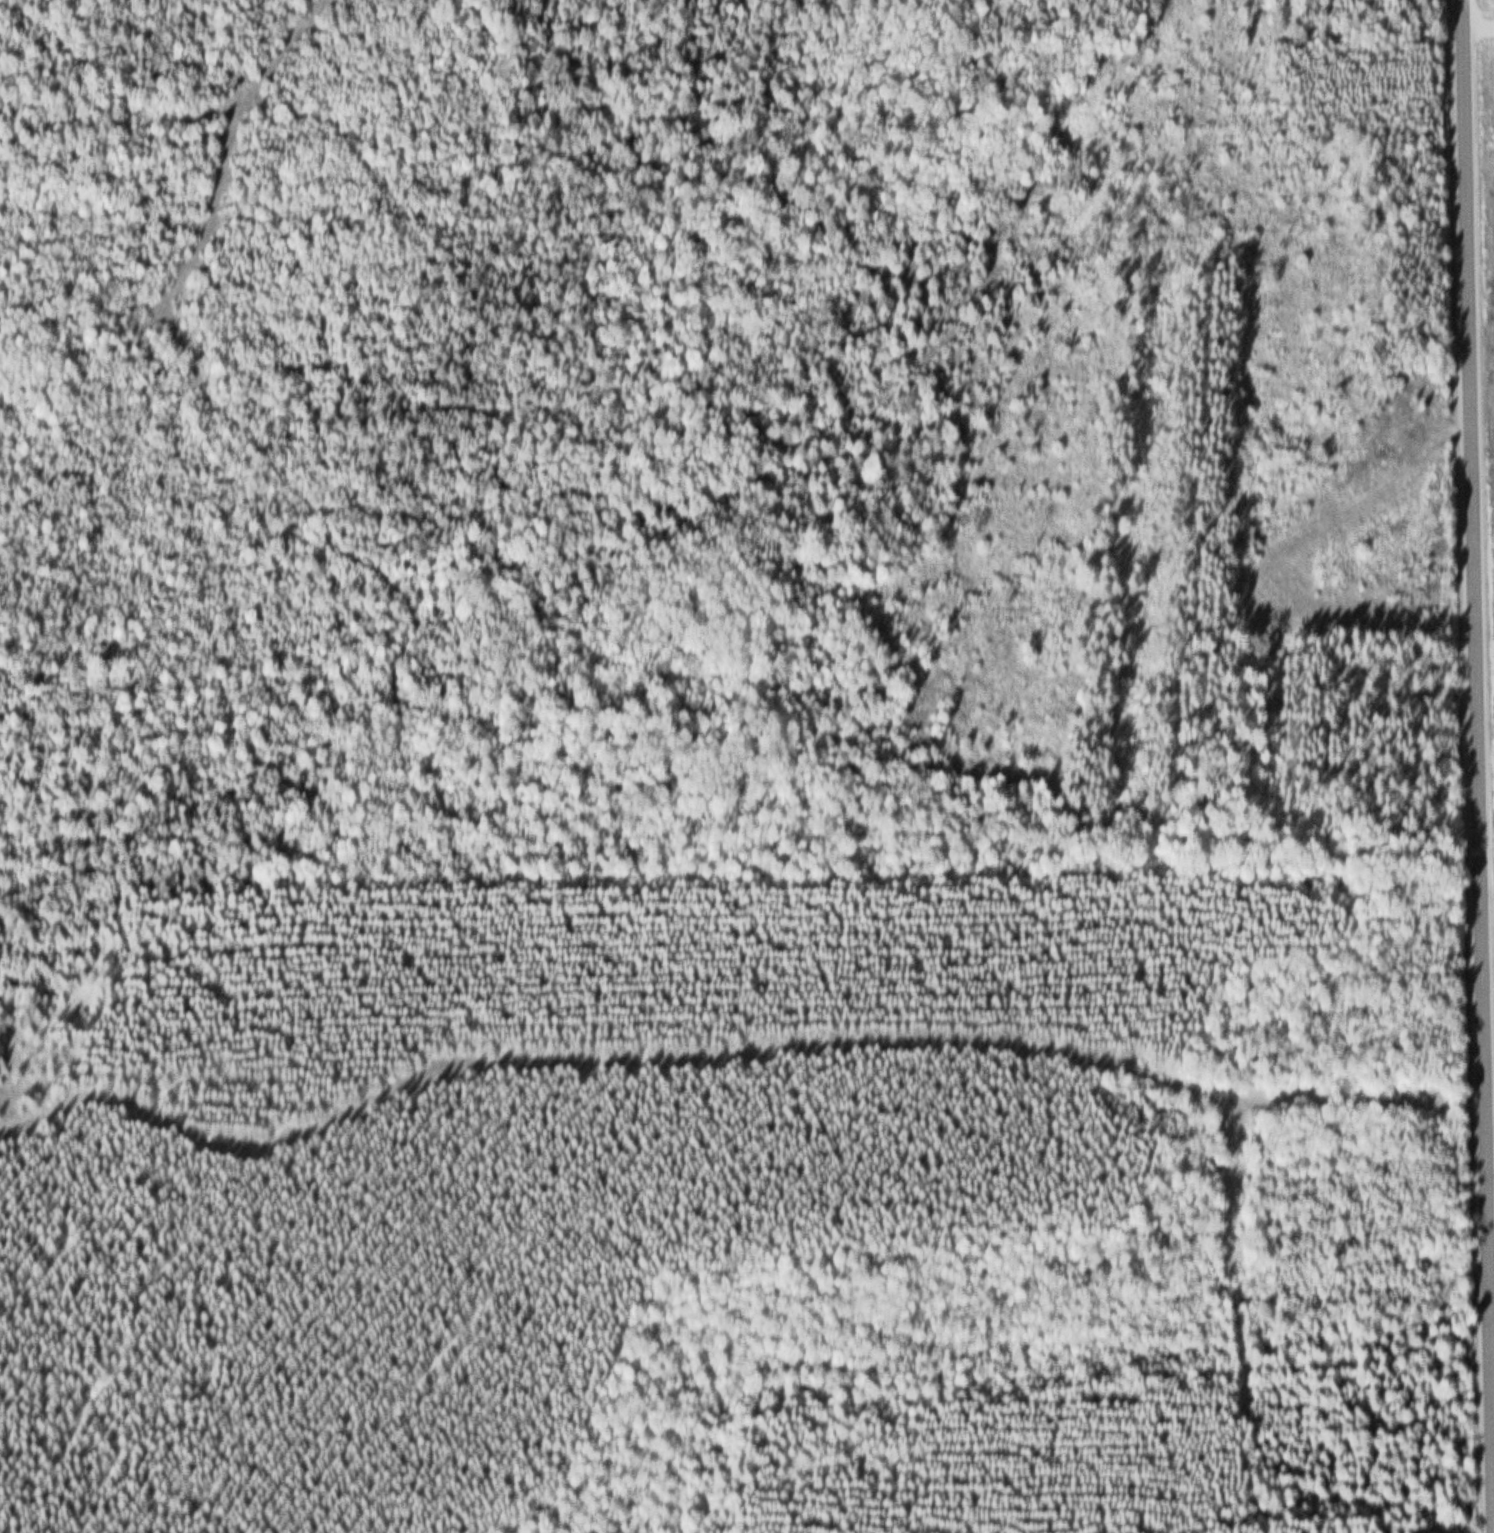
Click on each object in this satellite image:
road: (1480, 36)
road: (1479, 721)
road: (727, 1053)

